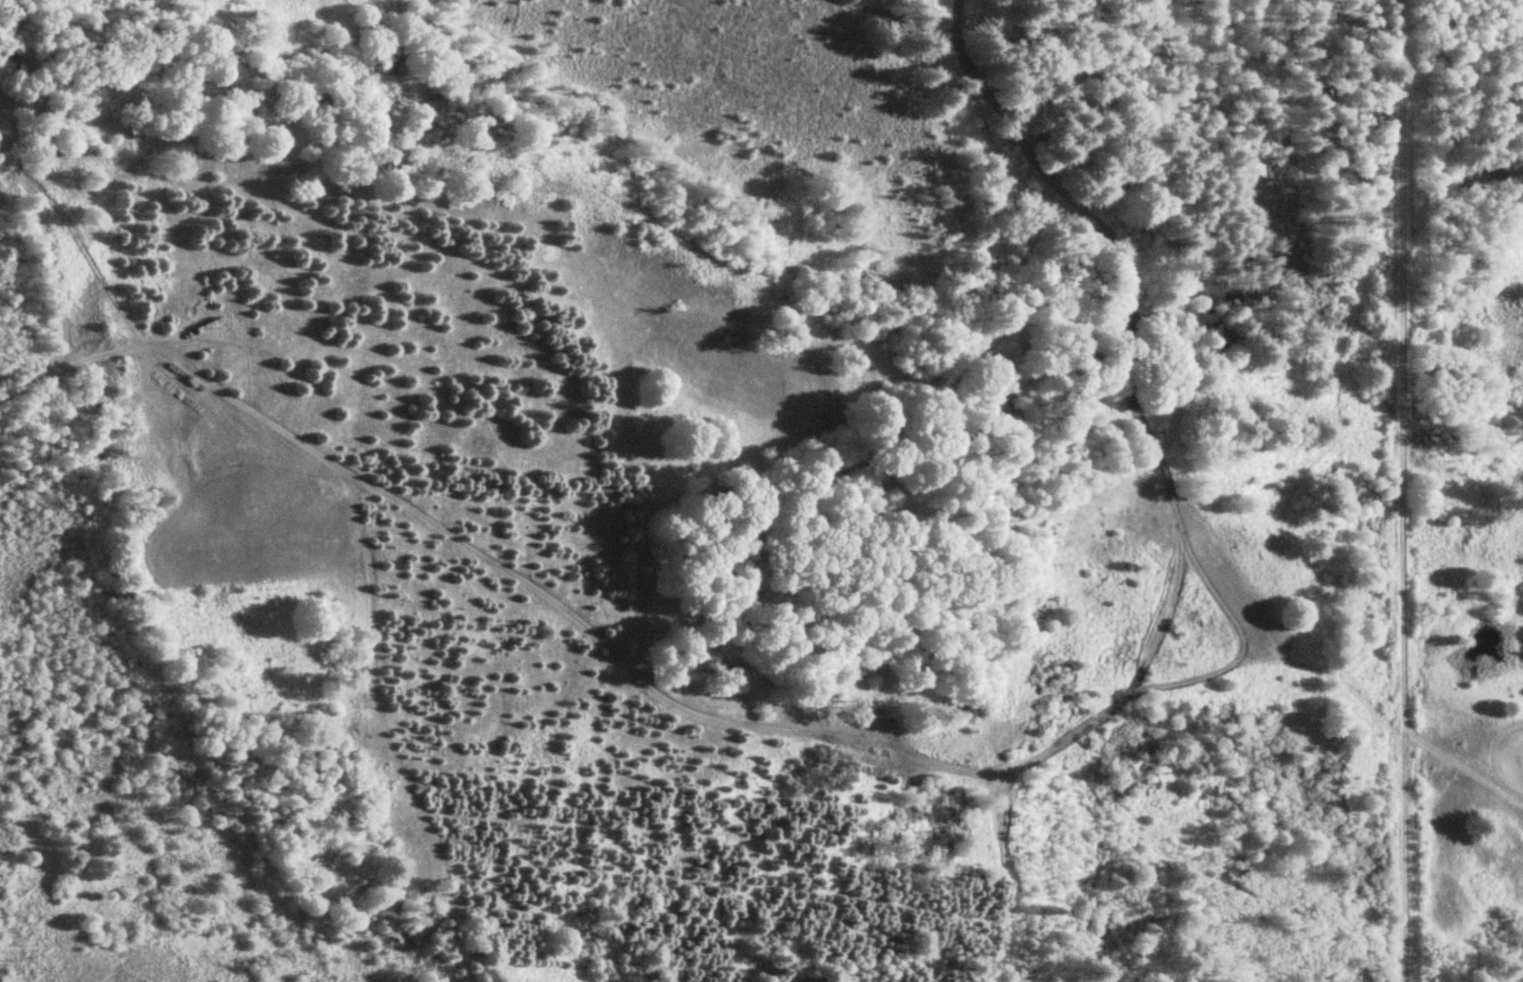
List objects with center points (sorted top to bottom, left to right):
road: (13, 31)
road: (52, 242)
road: (1404, 353)
road: (674, 700)
road: (1406, 767)

